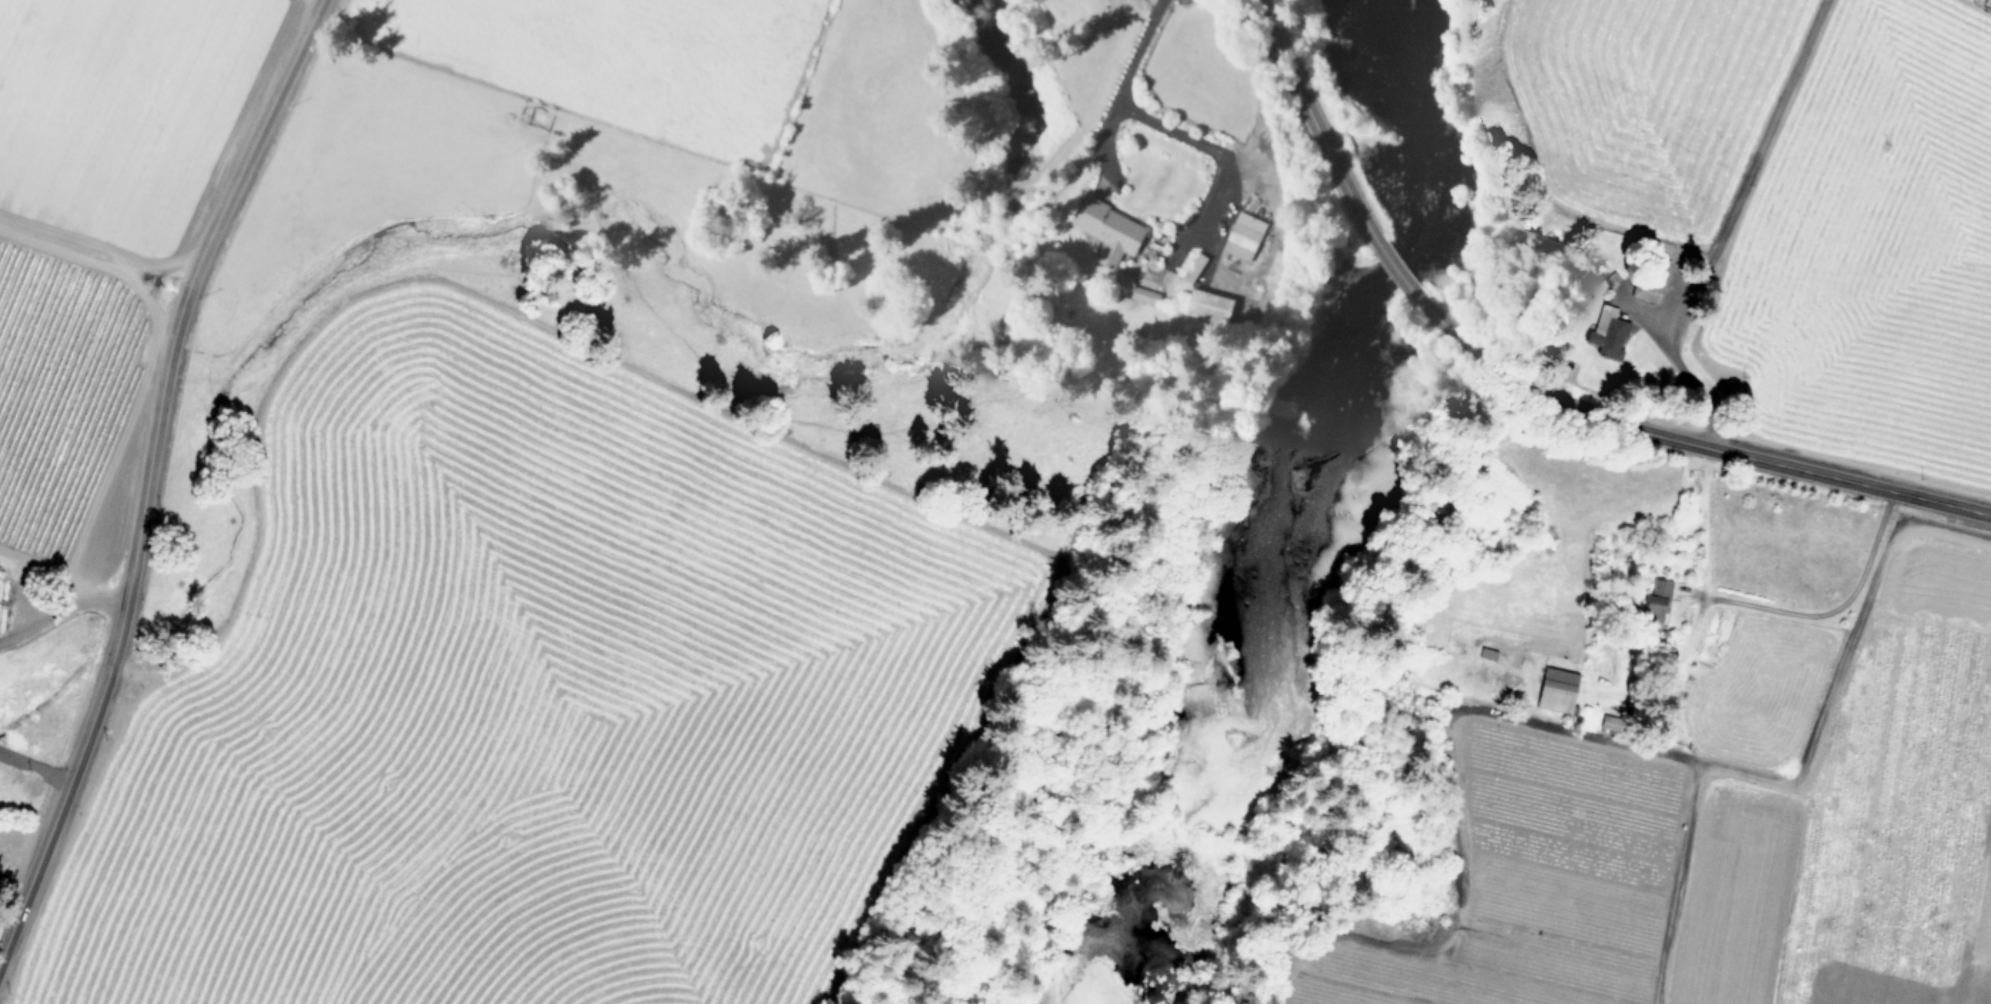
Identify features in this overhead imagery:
road: (1121, 88)
road: (1312, 118)
road: (1205, 145)
road: (248, 151)
crop: (1787, 212)
crop: (526, 218)
road: (1723, 229)
building: (1108, 231)
building: (1242, 236)
crop: (91, 252)
building: (1194, 268)
building: (1650, 278)
building: (1208, 307)
road: (1426, 307)
building: (1608, 331)
road: (1736, 454)
building: (1658, 595)
road: (61, 608)
road: (1822, 608)
road: (117, 640)
building: (1557, 690)
crop: (538, 694)
road: (1565, 725)
crop: (1703, 756)
road: (35, 764)
road: (1773, 775)

